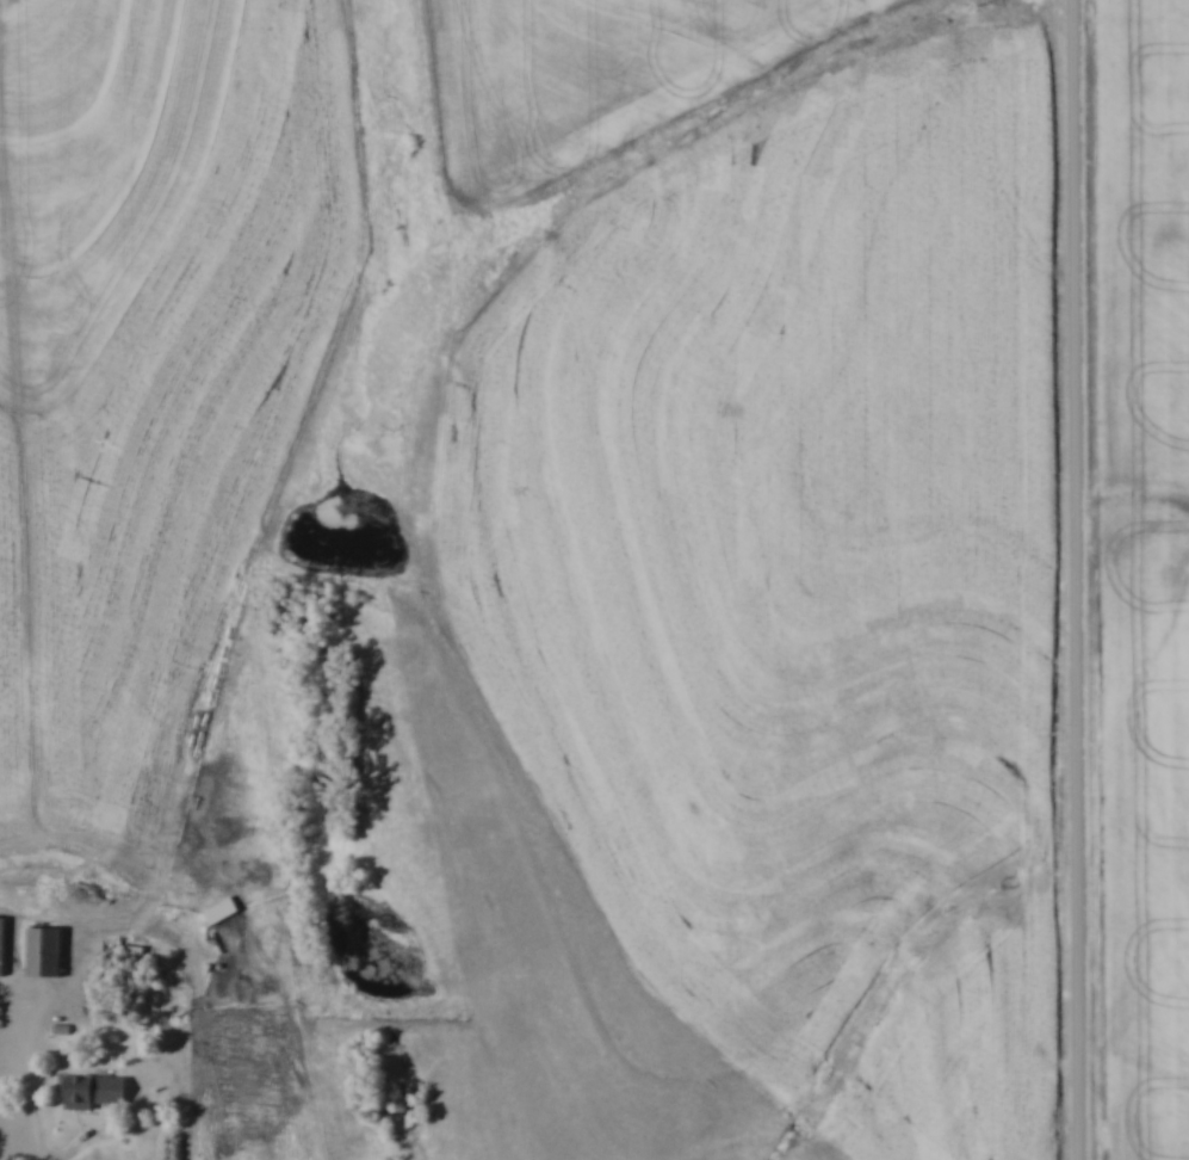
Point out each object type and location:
road: (1082, 580)
building: (2, 945)
building: (45, 951)
road: (35, 1084)
building: (97, 1091)

